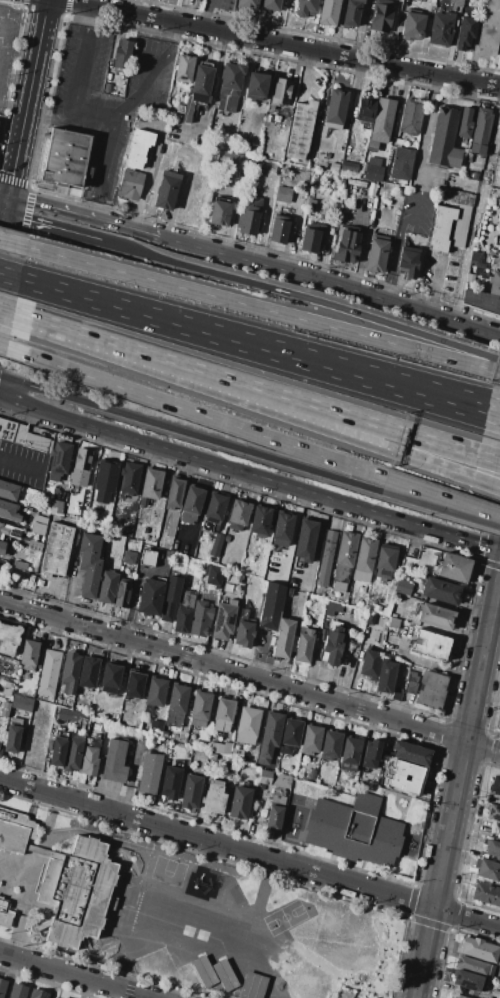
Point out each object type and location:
building: (458, 3)
building: (249, 4)
building: (271, 5)
building: (305, 8)
building: (328, 12)
building: (351, 13)
road: (204, 14)
building: (382, 16)
building: (412, 25)
road: (0, 27)
building: (442, 28)
road: (359, 29)
building: (489, 30)
building: (466, 33)
road: (281, 43)
building: (499, 52)
building: (121, 54)
road: (80, 57)
building: (184, 68)
road: (32, 72)
road: (153, 74)
road: (306, 74)
road: (213, 83)
building: (229, 86)
building: (256, 86)
building: (198, 91)
building: (280, 92)
parking lot: (104, 101)
building: (366, 109)
building: (335, 110)
road: (11, 113)
road: (47, 113)
road: (93, 113)
building: (498, 115)
building: (411, 117)
road: (427, 118)
building: (382, 119)
building: (463, 123)
building: (301, 131)
building: (479, 131)
building: (443, 139)
building: (139, 148)
building: (251, 150)
building: (66, 159)
building: (234, 160)
building: (401, 164)
road: (102, 168)
building: (348, 168)
building: (372, 168)
road: (11, 173)
road: (145, 180)
building: (130, 184)
building: (356, 184)
building: (499, 186)
building: (167, 191)
road: (420, 191)
building: (283, 194)
building: (458, 197)
road: (3, 202)
traffic signals: (6, 203)
road: (476, 204)
building: (219, 213)
road: (82, 215)
building: (249, 215)
road: (265, 219)
road: (3, 220)
building: (459, 226)
road: (57, 228)
building: (441, 229)
building: (279, 231)
building: (312, 237)
road: (16, 244)
building: (347, 247)
road: (393, 253)
building: (377, 254)
building: (408, 260)
building: (476, 260)
building: (496, 261)
road: (10, 275)
building: (495, 283)
road: (330, 284)
road: (434, 285)
road: (78, 295)
road: (307, 298)
building: (481, 301)
road: (264, 309)
road: (8, 311)
road: (7, 348)
road: (139, 352)
road: (314, 354)
road: (310, 364)
road: (498, 369)
road: (496, 400)
road: (199, 414)
road: (492, 419)
road: (369, 422)
road: (190, 434)
building: (21, 436)
road: (364, 443)
road: (488, 457)
building: (58, 461)
building: (81, 468)
road: (248, 474)
building: (129, 479)
building: (104, 481)
building: (152, 484)
road: (486, 484)
building: (9, 491)
building: (174, 494)
building: (59, 495)
road: (442, 495)
building: (191, 504)
building: (55, 506)
building: (215, 509)
road: (440, 509)
building: (9, 511)
building: (238, 514)
building: (260, 521)
building: (38, 524)
building: (4, 530)
building: (281, 531)
building: (16, 532)
building: (306, 535)
road: (291, 536)
building: (227, 539)
road: (316, 543)
building: (174, 544)
building: (217, 545)
building: (2, 547)
building: (36, 547)
building: (182, 547)
building: (56, 550)
building: (129, 558)
building: (148, 558)
building: (326, 558)
building: (231, 559)
building: (365, 559)
building: (344, 560)
building: (386, 562)
building: (19, 564)
building: (89, 565)
building: (454, 567)
building: (213, 575)
building: (25, 579)
building: (403, 586)
building: (108, 587)
building: (289, 591)
road: (133, 592)
building: (440, 592)
building: (123, 593)
building: (151, 595)
building: (171, 598)
building: (271, 605)
building: (332, 607)
building: (184, 612)
building: (362, 615)
building: (435, 617)
building: (201, 618)
building: (371, 618)
building: (223, 620)
building: (393, 622)
building: (243, 634)
building: (322, 634)
building: (283, 638)
building: (9, 639)
building: (429, 644)
building: (333, 646)
building: (304, 647)
building: (30, 655)
road: (260, 655)
road: (422, 662)
building: (370, 664)
building: (70, 672)
building: (88, 672)
building: (49, 674)
road: (250, 676)
building: (386, 677)
building: (111, 679)
building: (411, 683)
building: (7, 688)
building: (133, 688)
building: (431, 690)
building: (155, 694)
building: (397, 695)
building: (22, 703)
building: (0, 704)
building: (176, 705)
building: (5, 708)
building: (200, 709)
building: (125, 715)
building: (223, 715)
building: (71, 716)
building: (103, 717)
building: (499, 723)
building: (156, 725)
building: (247, 726)
building: (291, 735)
building: (192, 736)
building: (12, 739)
building: (311, 739)
building: (96, 742)
building: (1, 744)
building: (331, 746)
building: (219, 747)
building: (57, 751)
building: (74, 752)
building: (410, 753)
building: (371, 754)
building: (350, 755)
building: (213, 757)
building: (89, 761)
building: (114, 762)
building: (150, 773)
building: (311, 776)
building: (265, 777)
building: (404, 777)
building: (283, 780)
building: (171, 781)
road: (457, 784)
building: (495, 784)
building: (191, 791)
building: (214, 797)
building: (240, 802)
building: (493, 812)
building: (275, 813)
building: (355, 829)
building: (493, 849)
road: (250, 852)
building: (487, 870)
building: (64, 880)
building: (486, 894)
building: (4, 913)
park: (285, 918)
building: (41, 924)
building: (478, 949)
building: (499, 962)
building: (473, 965)
building: (203, 973)
building: (224, 974)
road: (74, 975)
building: (468, 981)
building: (253, 986)
building: (2, 987)
building: (18, 991)
building: (39, 994)
building: (458, 996)
building: (54, 997)
building: (57, 997)
building: (499, 997)

